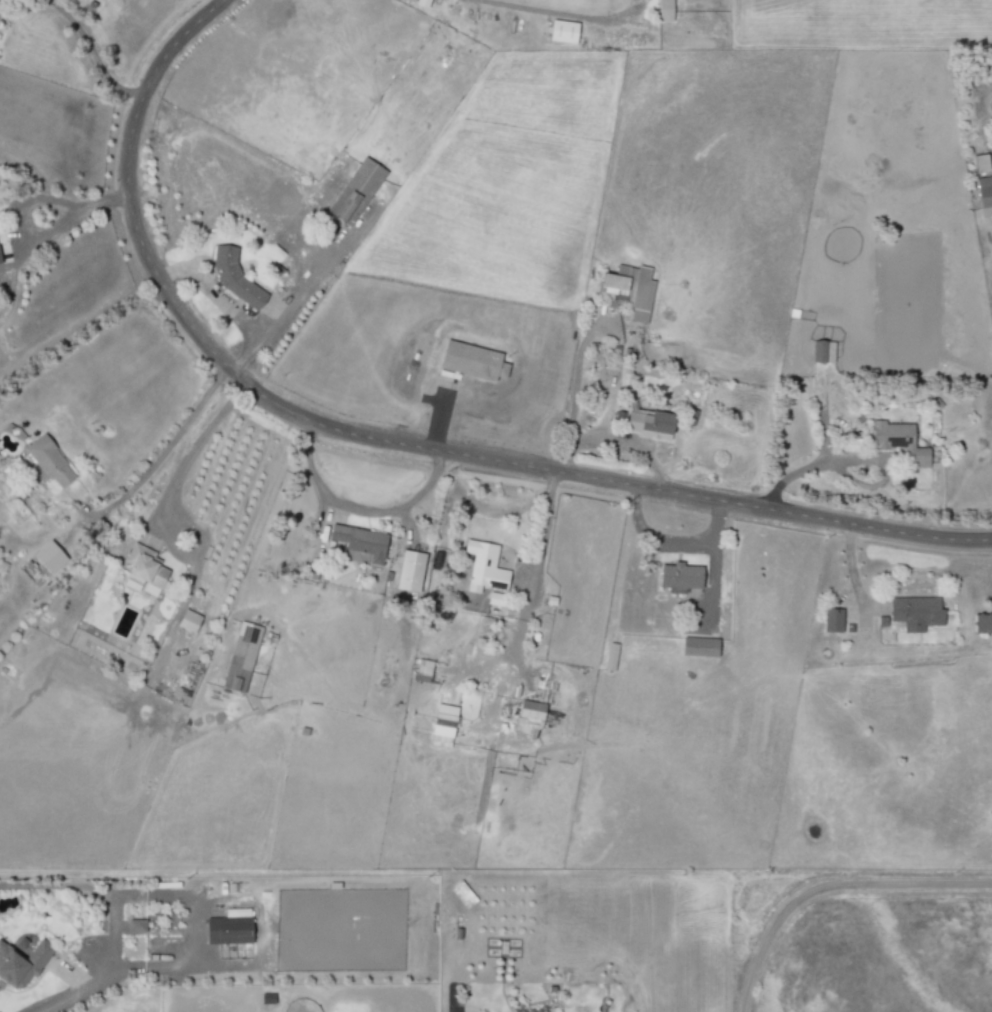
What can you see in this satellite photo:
building: (419, 3)
building: (663, 10)
road: (557, 12)
building: (560, 32)
road: (93, 52)
building: (979, 163)
building: (354, 192)
building: (984, 195)
road: (30, 201)
building: (233, 277)
building: (627, 291)
road: (293, 305)
building: (821, 351)
building: (469, 361)
road: (576, 395)
road: (437, 415)
building: (645, 424)
road: (631, 440)
road: (388, 442)
building: (898, 442)
road: (163, 454)
building: (46, 462)
road: (807, 467)
road: (168, 496)
road: (478, 502)
road: (357, 509)
road: (653, 537)
building: (358, 544)
building: (46, 557)
road: (711, 565)
building: (483, 566)
building: (142, 571)
building: (408, 571)
road: (850, 577)
building: (675, 578)
road: (524, 601)
building: (914, 612)
building: (831, 620)
building: (186, 621)
building: (980, 623)
building: (697, 647)
building: (240, 657)
building: (609, 657)
building: (420, 671)
building: (530, 710)
building: (441, 726)
road: (837, 901)
building: (134, 926)
building: (21, 962)
road: (112, 974)

